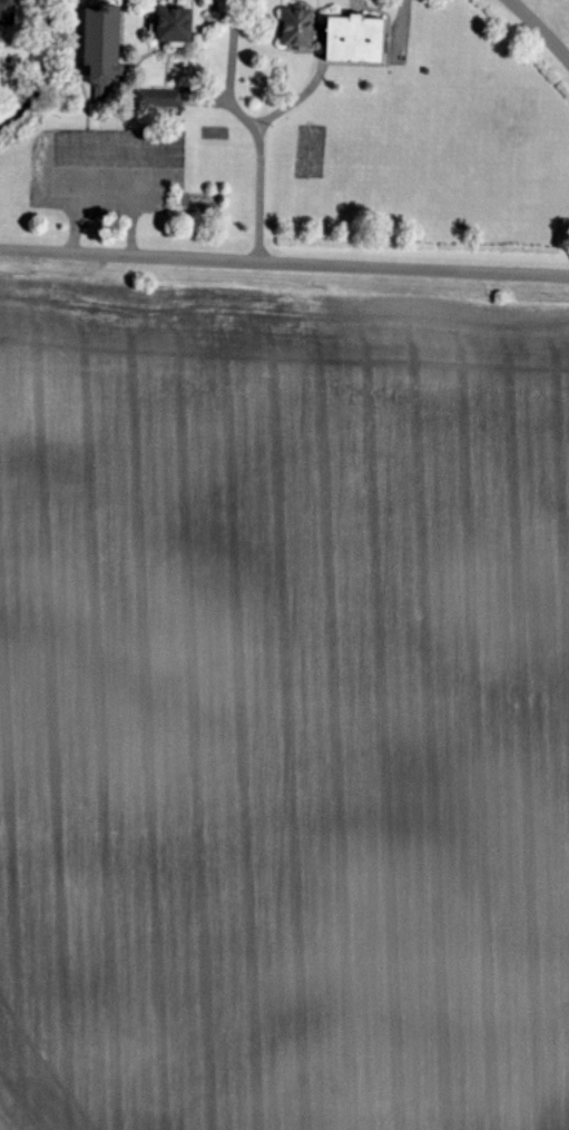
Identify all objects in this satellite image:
building: (8, 10)
building: (175, 26)
building: (298, 28)
road: (540, 29)
building: (356, 40)
building: (102, 45)
building: (159, 98)
road: (242, 115)
road: (262, 193)
road: (130, 254)
road: (415, 268)
crop: (283, 713)

